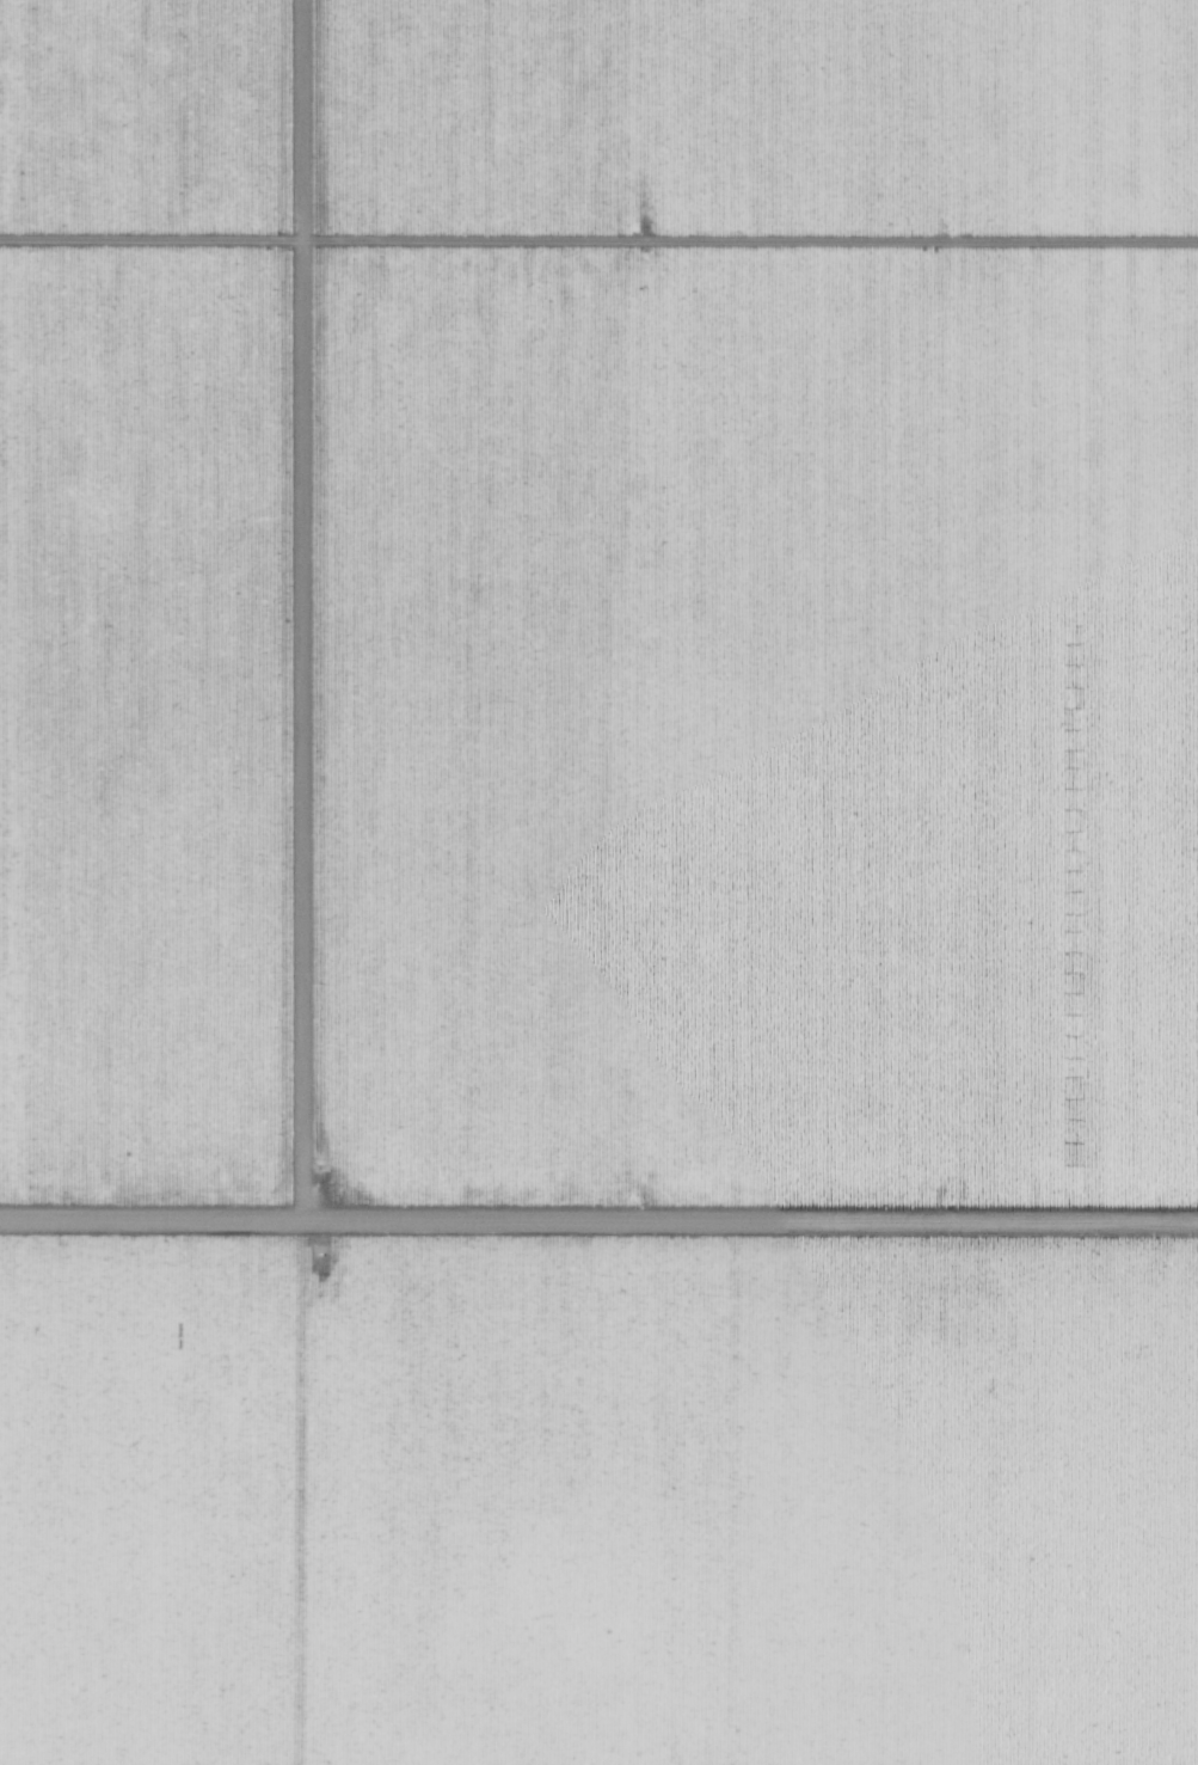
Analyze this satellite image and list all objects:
crop: (598, 606)
crop: (595, 1222)
road: (598, 1233)
crop: (133, 1497)
crop: (731, 1499)

